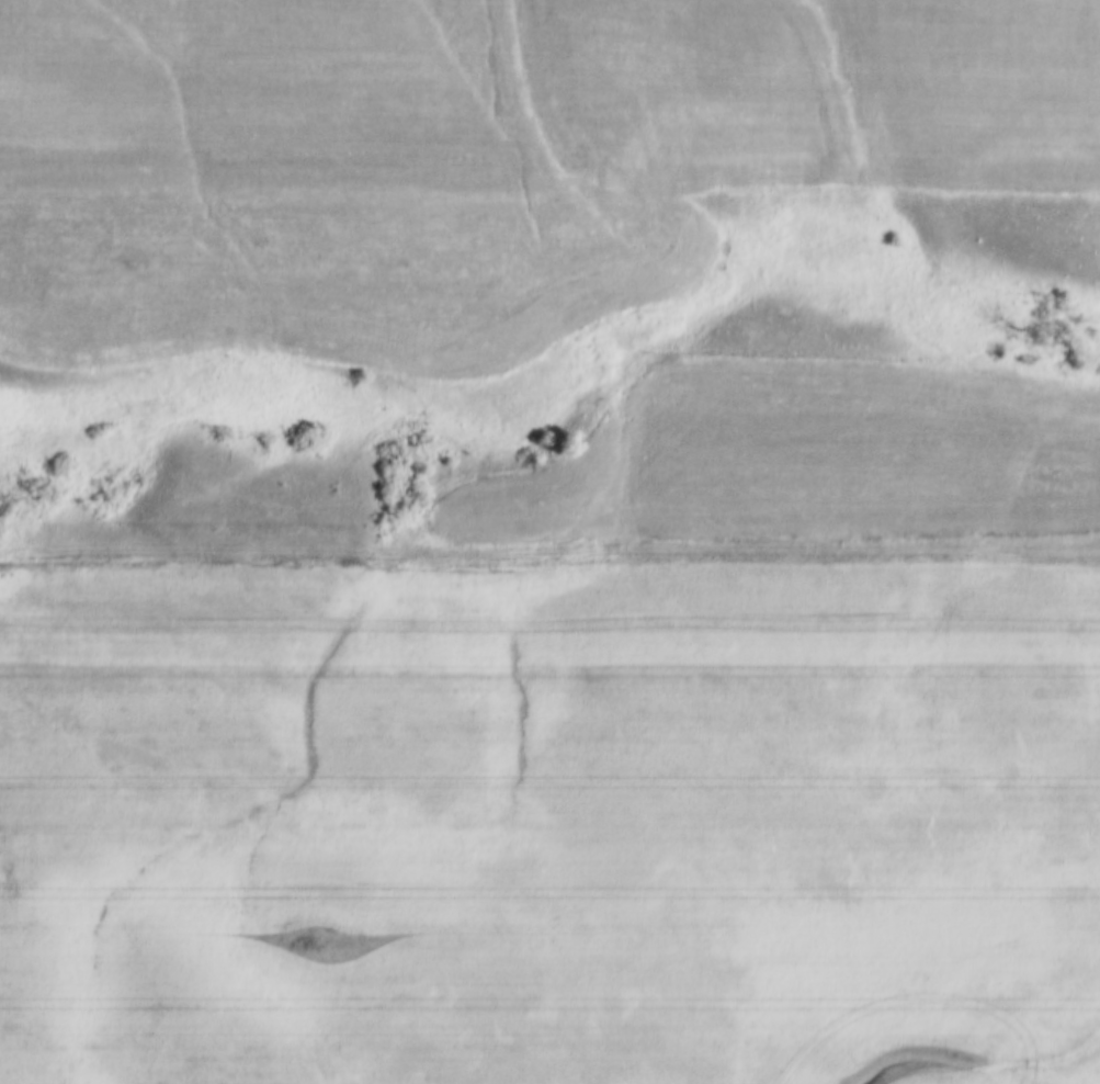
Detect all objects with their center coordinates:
road: (549, 551)

